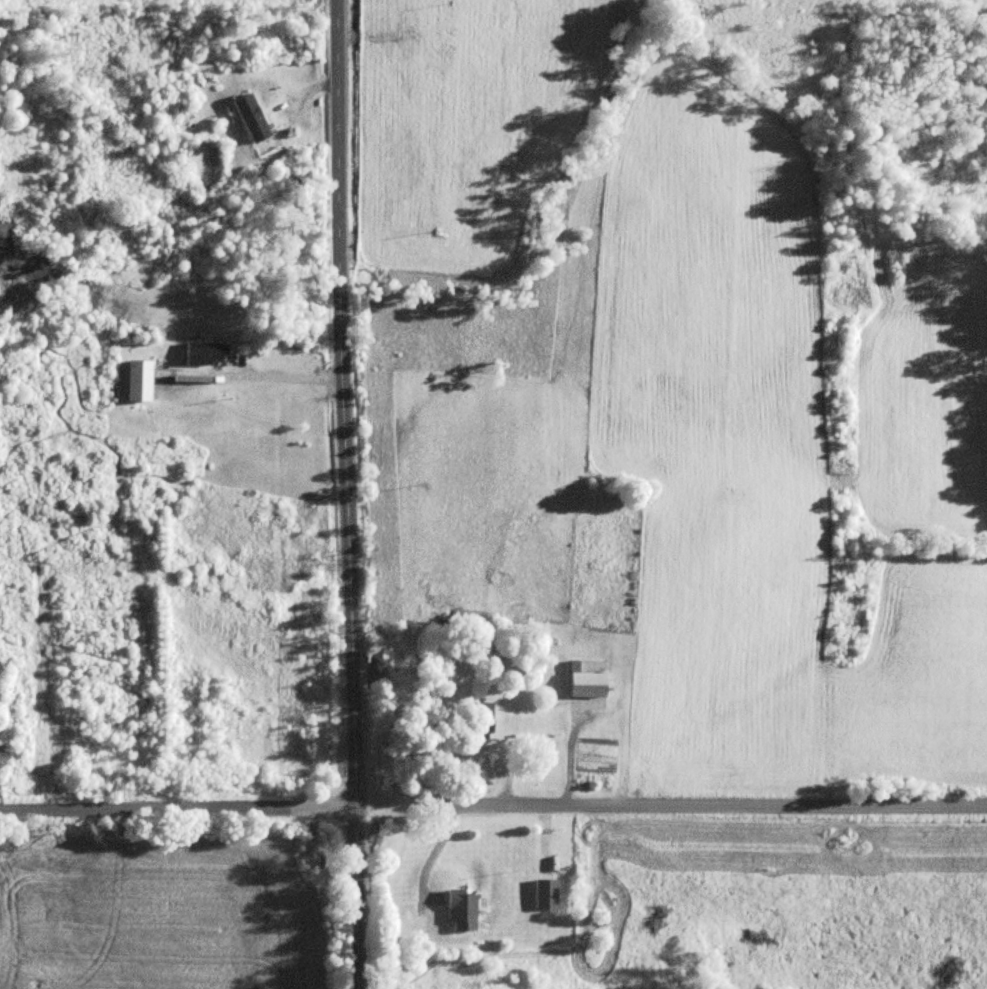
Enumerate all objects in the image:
building: (248, 119)
building: (203, 355)
road: (291, 380)
building: (136, 382)
road: (349, 494)
building: (583, 683)
building: (476, 720)
road: (493, 806)
building: (542, 895)
building: (458, 912)

